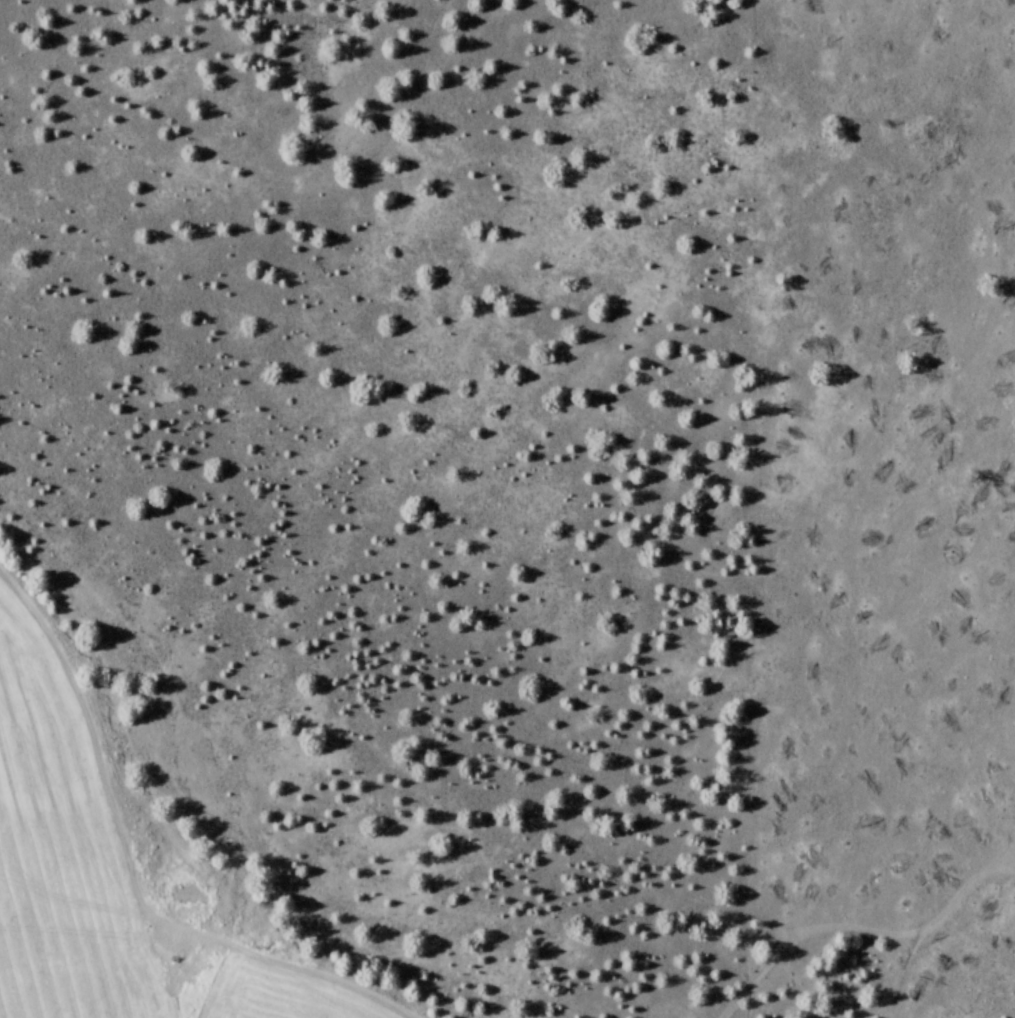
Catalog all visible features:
road: (128, 870)

